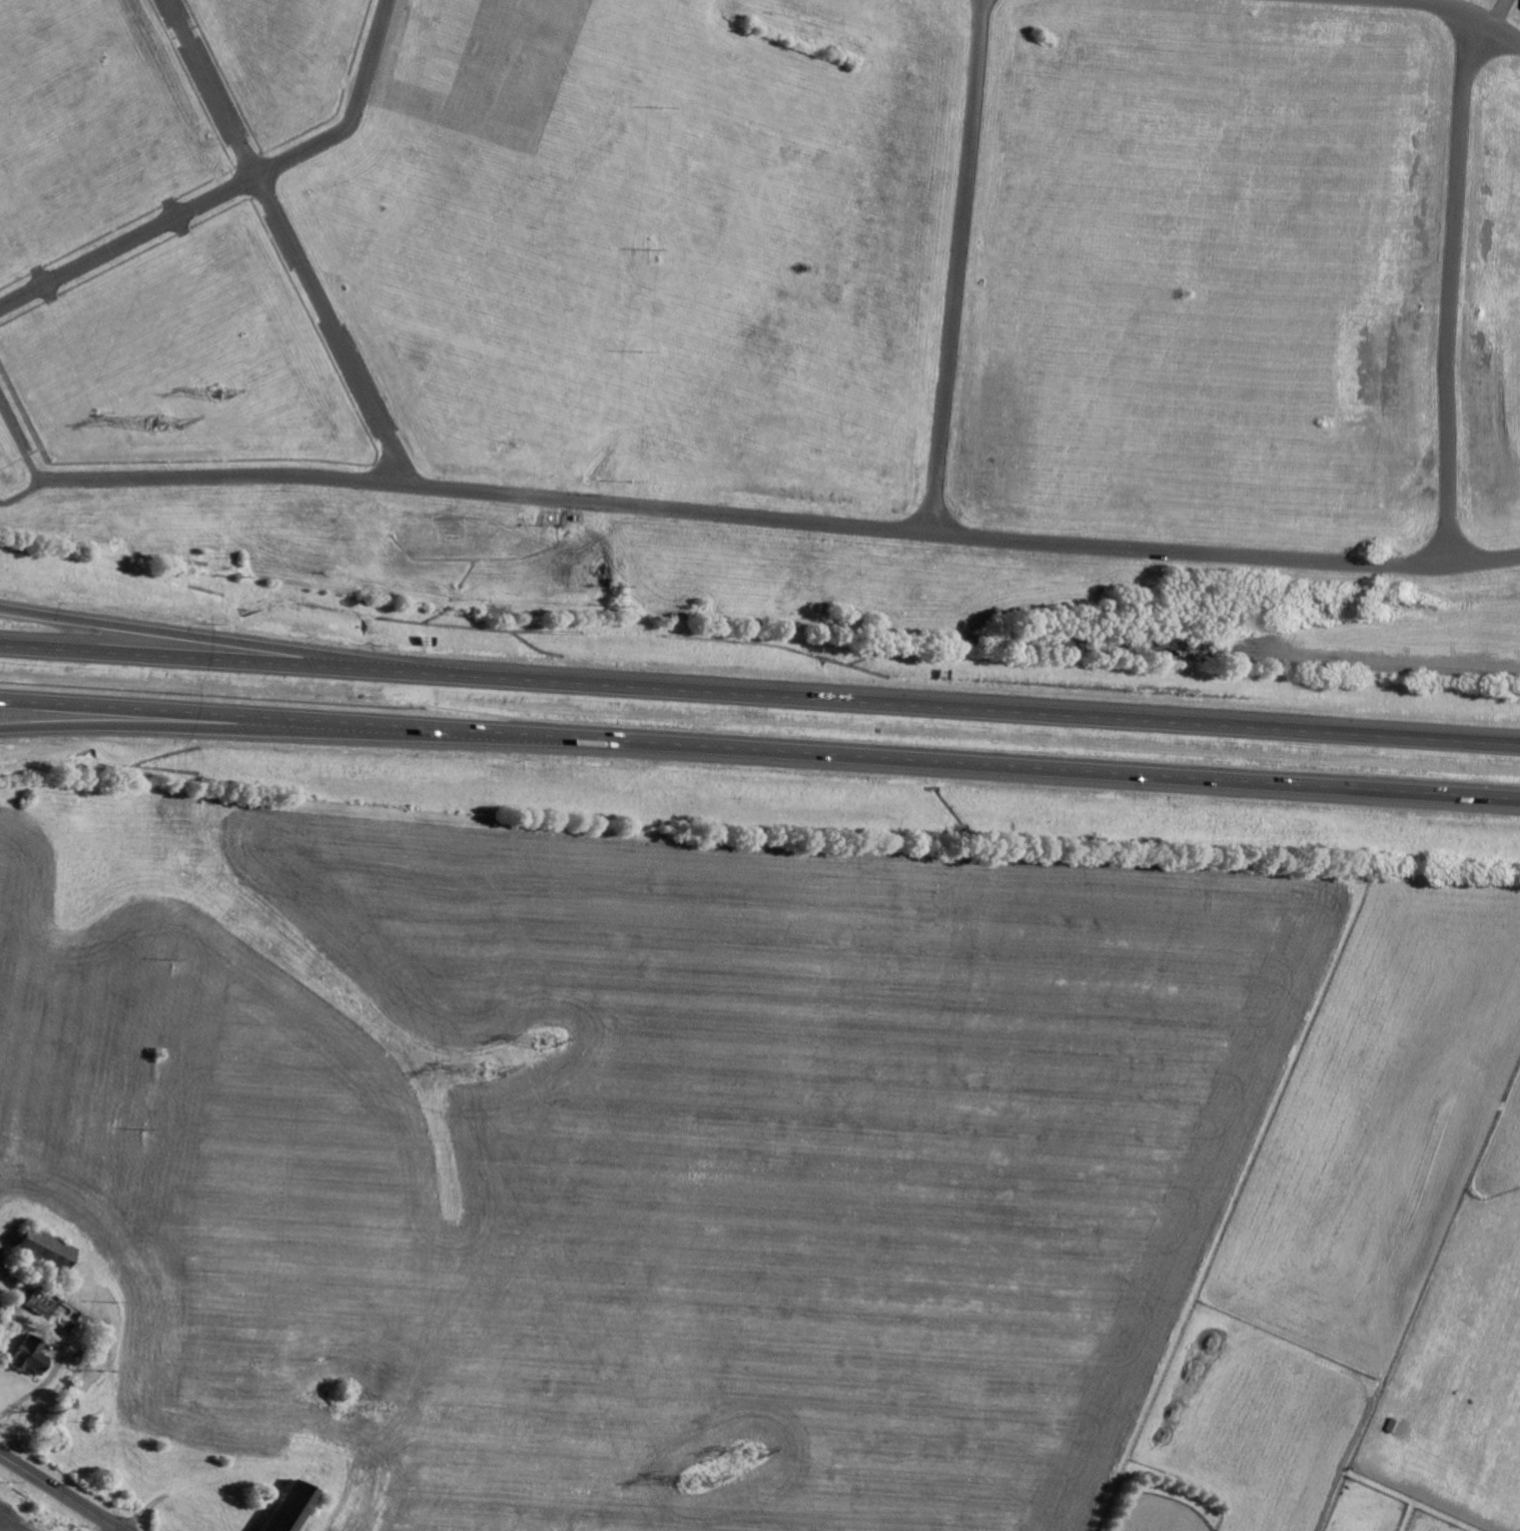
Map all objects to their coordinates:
road: (1459, 10)
road: (1494, 11)
road: (232, 186)
road: (287, 242)
road: (957, 266)
road: (1448, 288)
power tower: (221, 401)
power tower: (163, 429)
road: (18, 441)
road: (22, 494)
road: (779, 518)
road: (207, 639)
road: (760, 691)
road: (252, 729)
road: (759, 752)
power tower: (550, 1046)
power tower: (491, 1075)
building: (47, 1249)
building: (44, 1302)
building: (31, 1356)
power tower: (756, 1455)
power tower: (700, 1488)
road: (60, 1491)
building: (291, 1507)

